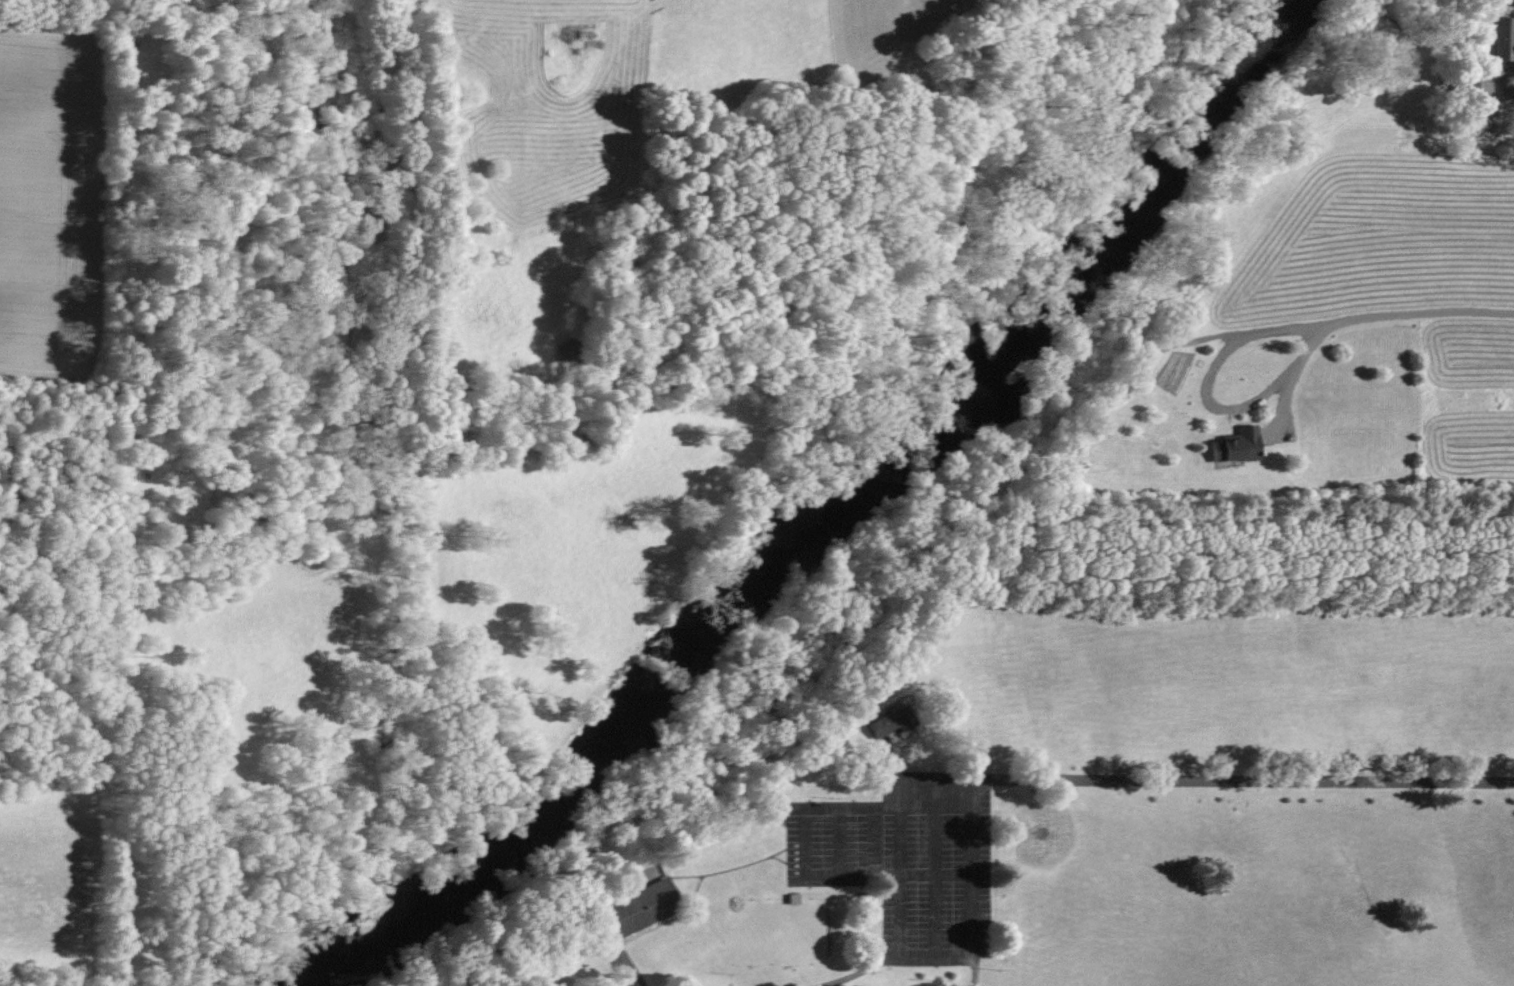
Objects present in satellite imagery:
building: (1502, 39)
road: (1412, 312)
road: (1204, 398)
building: (1234, 447)
river: (832, 477)
building: (889, 721)
road: (1198, 780)
building: (638, 907)
road: (975, 930)
road: (893, 961)
road: (634, 974)

